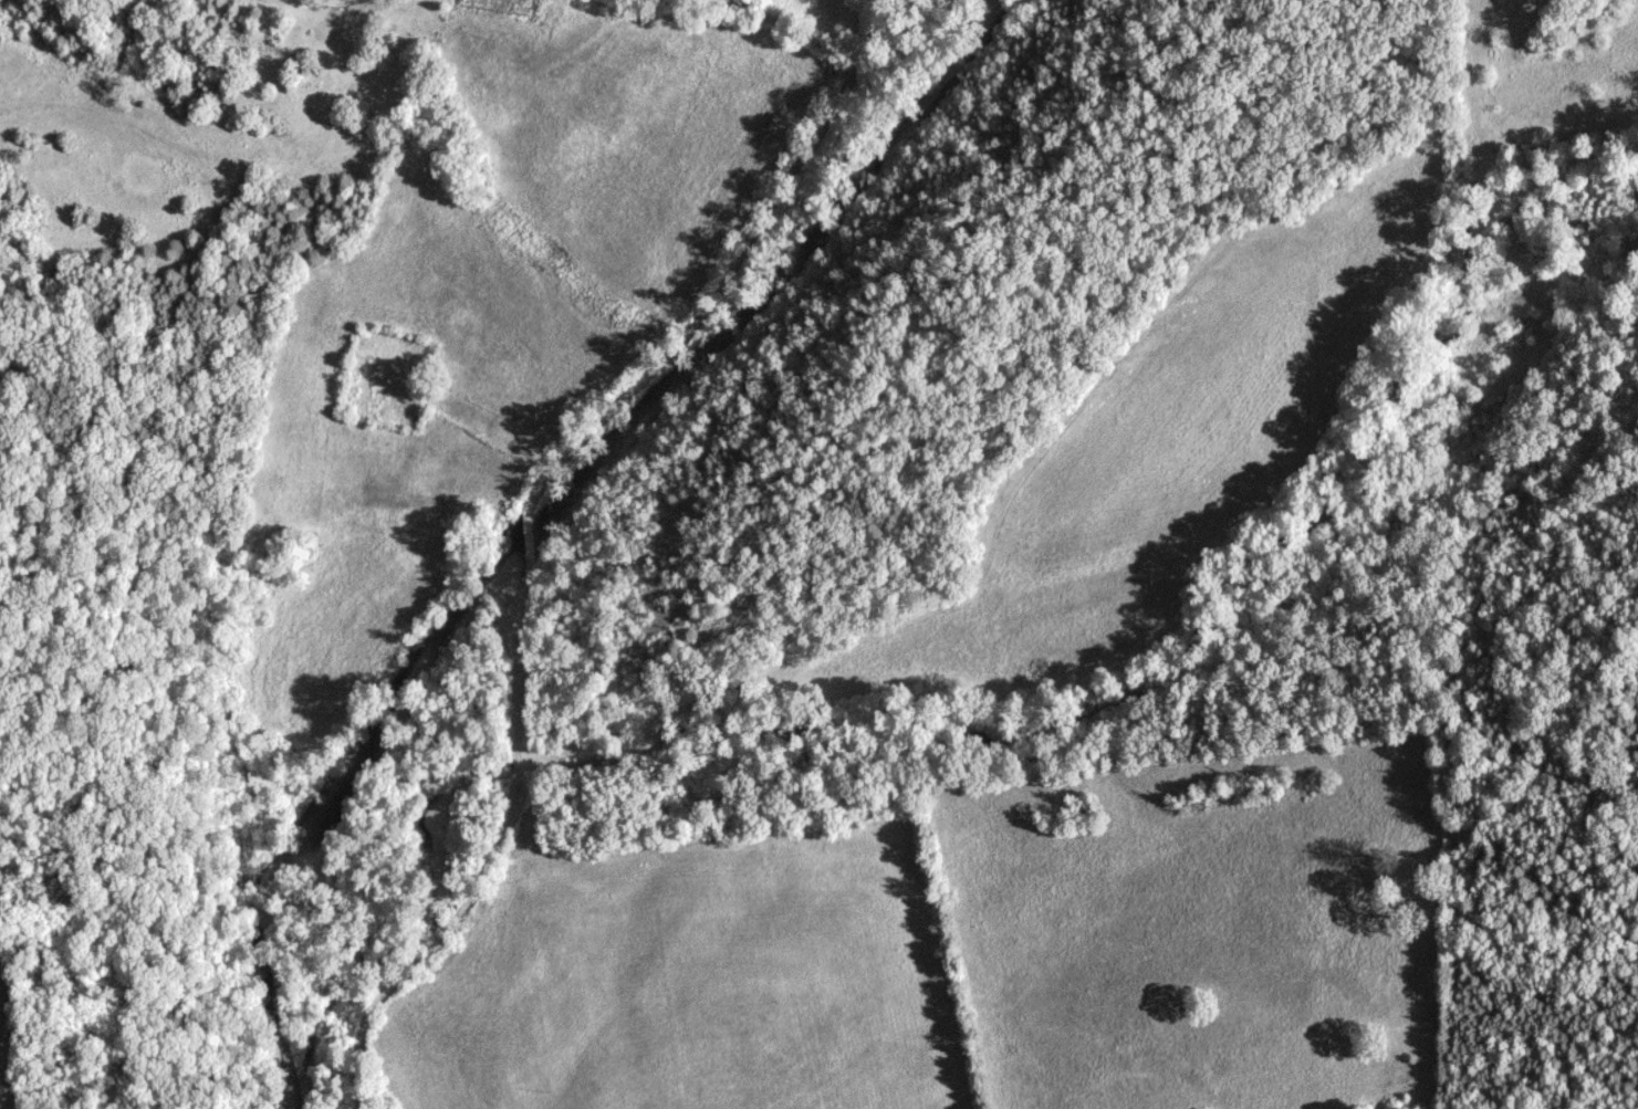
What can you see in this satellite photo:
road: (786, 33)
park: (388, 383)
road: (530, 513)

